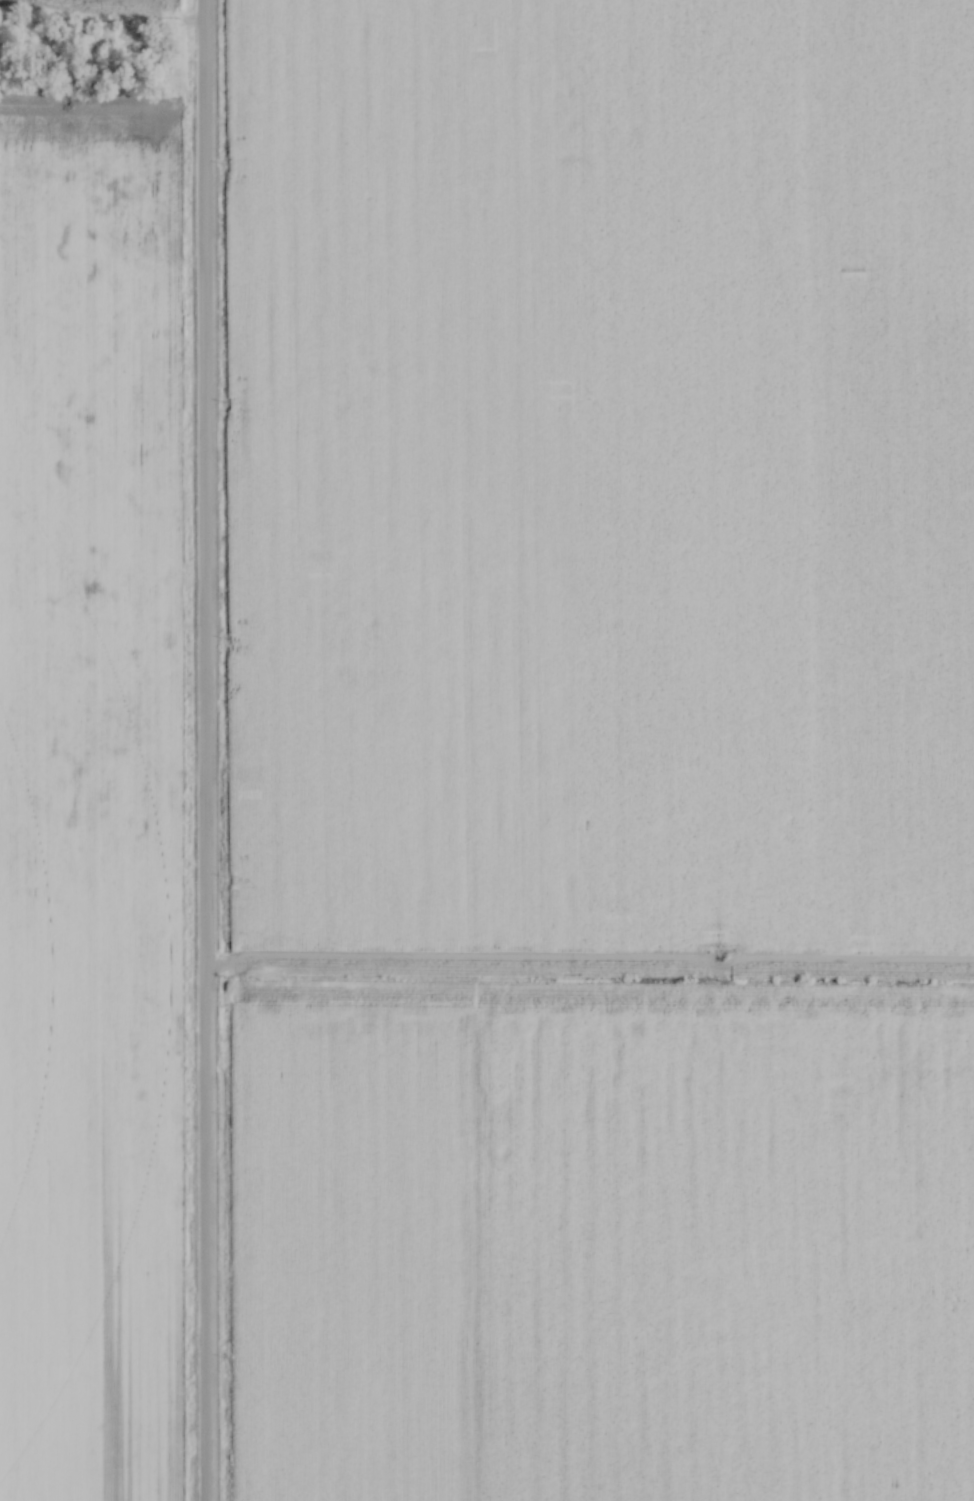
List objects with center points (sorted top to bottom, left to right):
road: (201, 750)

